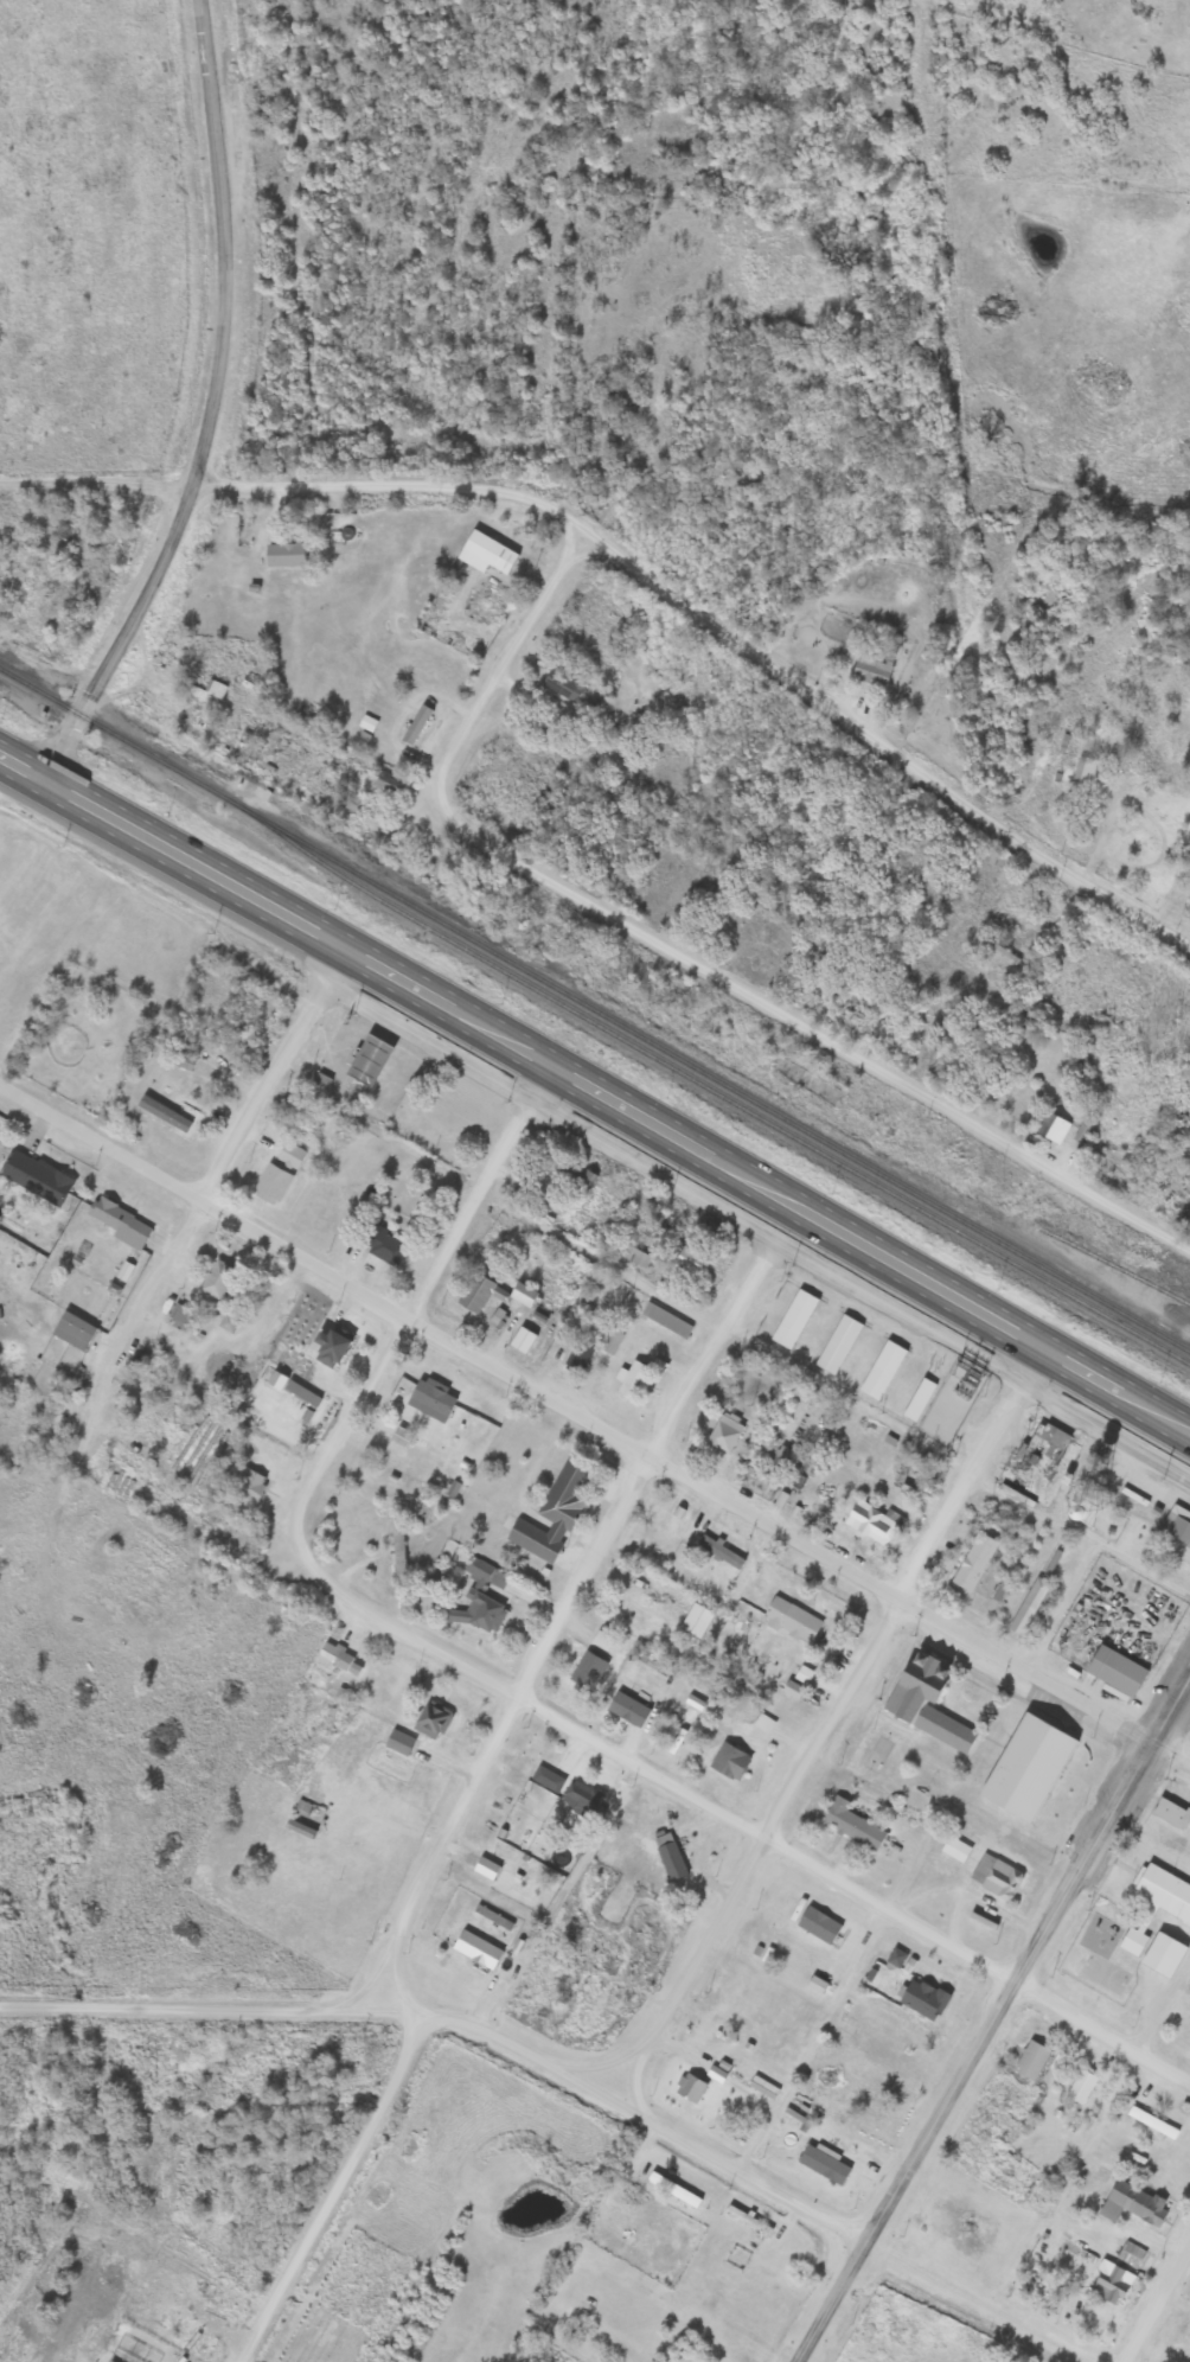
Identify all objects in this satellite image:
road: (210, 409)
road: (97, 484)
building: (523, 537)
building: (485, 553)
building: (283, 554)
road: (718, 631)
road: (522, 634)
road: (149, 670)
building: (871, 670)
building: (562, 685)
building: (209, 692)
building: (250, 722)
building: (416, 724)
building: (674, 732)
building: (1079, 768)
road: (21, 771)
building: (388, 783)
building: (998, 952)
road: (775, 1008)
railway: (594, 1011)
building: (367, 1059)
building: (183, 1061)
road: (275, 1077)
railway: (708, 1090)
road: (618, 1105)
building: (1051, 1129)
building: (289, 1156)
building: (34, 1177)
building: (577, 1181)
building: (270, 1185)
building: (116, 1220)
building: (382, 1244)
building: (631, 1255)
building: (690, 1260)
road: (599, 1263)
building: (217, 1278)
road: (147, 1290)
building: (475, 1294)
building: (522, 1295)
road: (411, 1313)
building: (665, 1319)
building: (792, 1319)
building: (72, 1330)
building: (522, 1340)
building: (612, 1342)
building: (837, 1343)
building: (327, 1347)
building: (577, 1358)
building: (881, 1370)
building: (632, 1380)
building: (300, 1393)
building: (436, 1398)
building: (916, 1399)
road: (591, 1429)
building: (724, 1431)
building: (399, 1437)
building: (1037, 1463)
building: (248, 1483)
road: (1026, 1511)
building: (551, 1514)
building: (869, 1521)
building: (1177, 1524)
building: (397, 1546)
building: (719, 1551)
building: (972, 1562)
road: (1137, 1572)
building: (480, 1600)
road: (1051, 1603)
building: (1030, 1608)
building: (693, 1620)
building: (789, 1620)
building: (337, 1656)
building: (1114, 1671)
building: (586, 1672)
building: (923, 1702)
building: (629, 1704)
building: (431, 1719)
road: (827, 1723)
building: (397, 1742)
building: (728, 1762)
road: (478, 1777)
building: (546, 1779)
building: (583, 1802)
building: (301, 1807)
building: (1167, 1813)
road: (747, 1824)
building: (849, 1824)
building: (299, 1830)
building: (953, 1850)
building: (668, 1857)
building: (994, 1877)
building: (1156, 1905)
building: (817, 1926)
building: (476, 1949)
building: (1160, 1955)
building: (895, 1958)
building: (921, 1999)
road: (1163, 2004)
road: (994, 2021)
road: (459, 2024)
road: (806, 2035)
building: (1029, 2061)
building: (687, 2087)
building: (1080, 2087)
building: (863, 2100)
building: (1151, 2122)
building: (821, 2165)
building: (672, 2190)
building: (1130, 2204)
building: (747, 2221)
building: (1130, 2255)
building: (1108, 2285)
road: (1162, 2311)
building: (1188, 2329)

